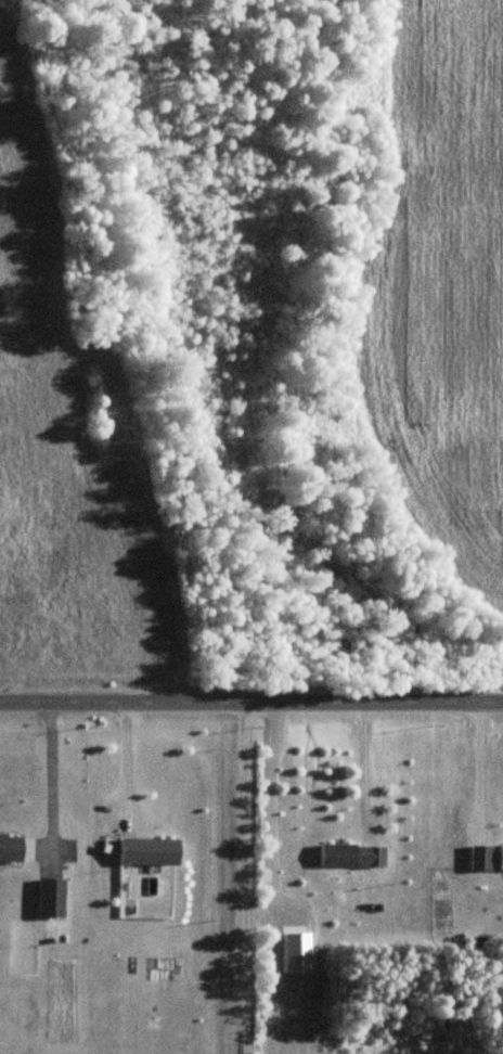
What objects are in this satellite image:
road: (250, 699)
road: (126, 759)
road: (478, 761)
road: (361, 769)
road: (48, 776)
building: (10, 848)
building: (146, 852)
building: (337, 856)
building: (373, 857)
building: (479, 859)
building: (501, 859)
building: (49, 898)

